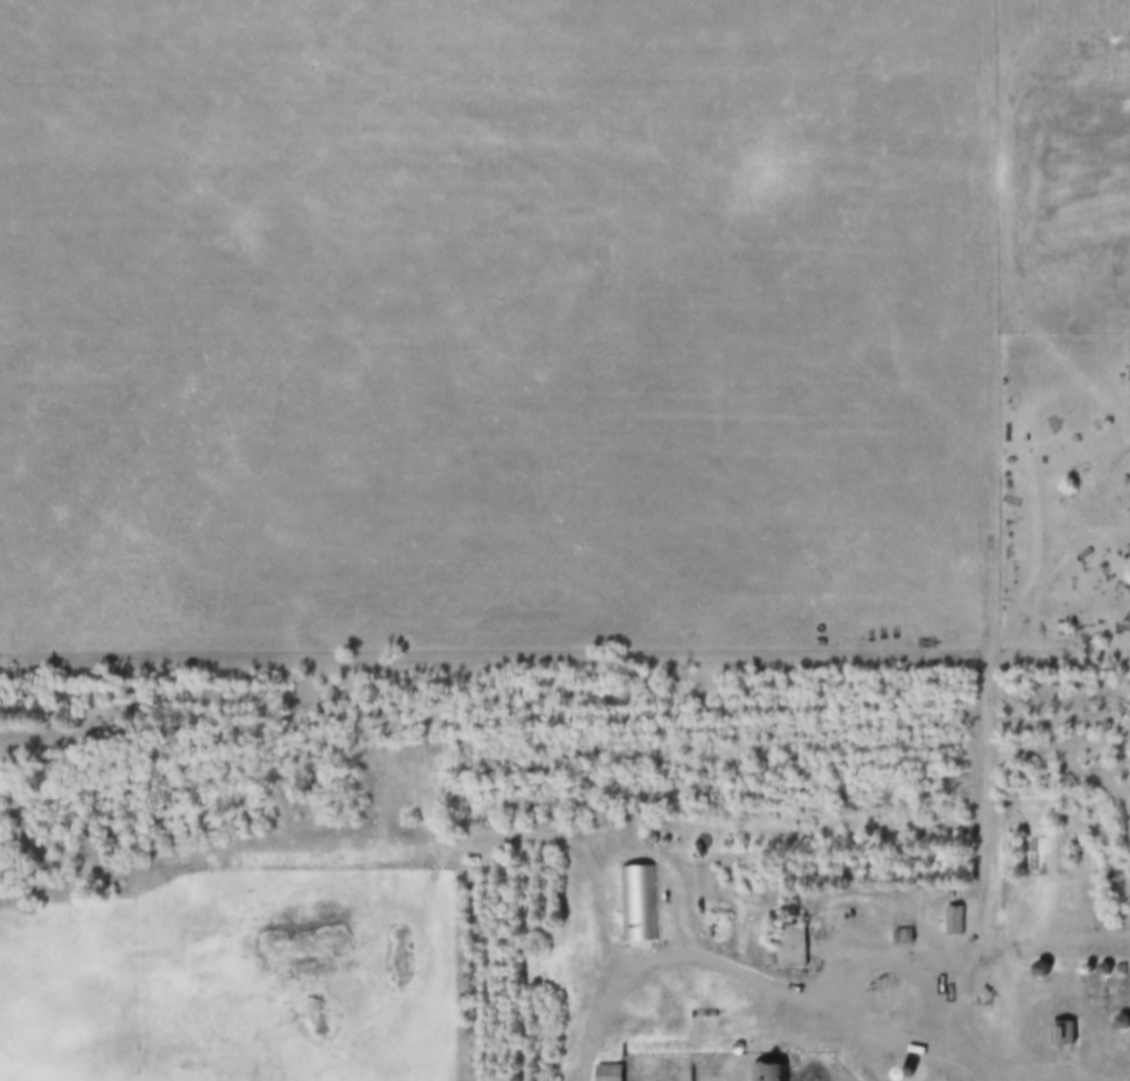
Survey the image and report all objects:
road: (990, 326)
road: (986, 861)
building: (640, 907)
building: (956, 921)
building: (905, 938)
building: (791, 947)
road: (870, 1031)
building: (1063, 1033)
road: (1032, 1071)
building: (770, 1072)
building: (609, 1073)

